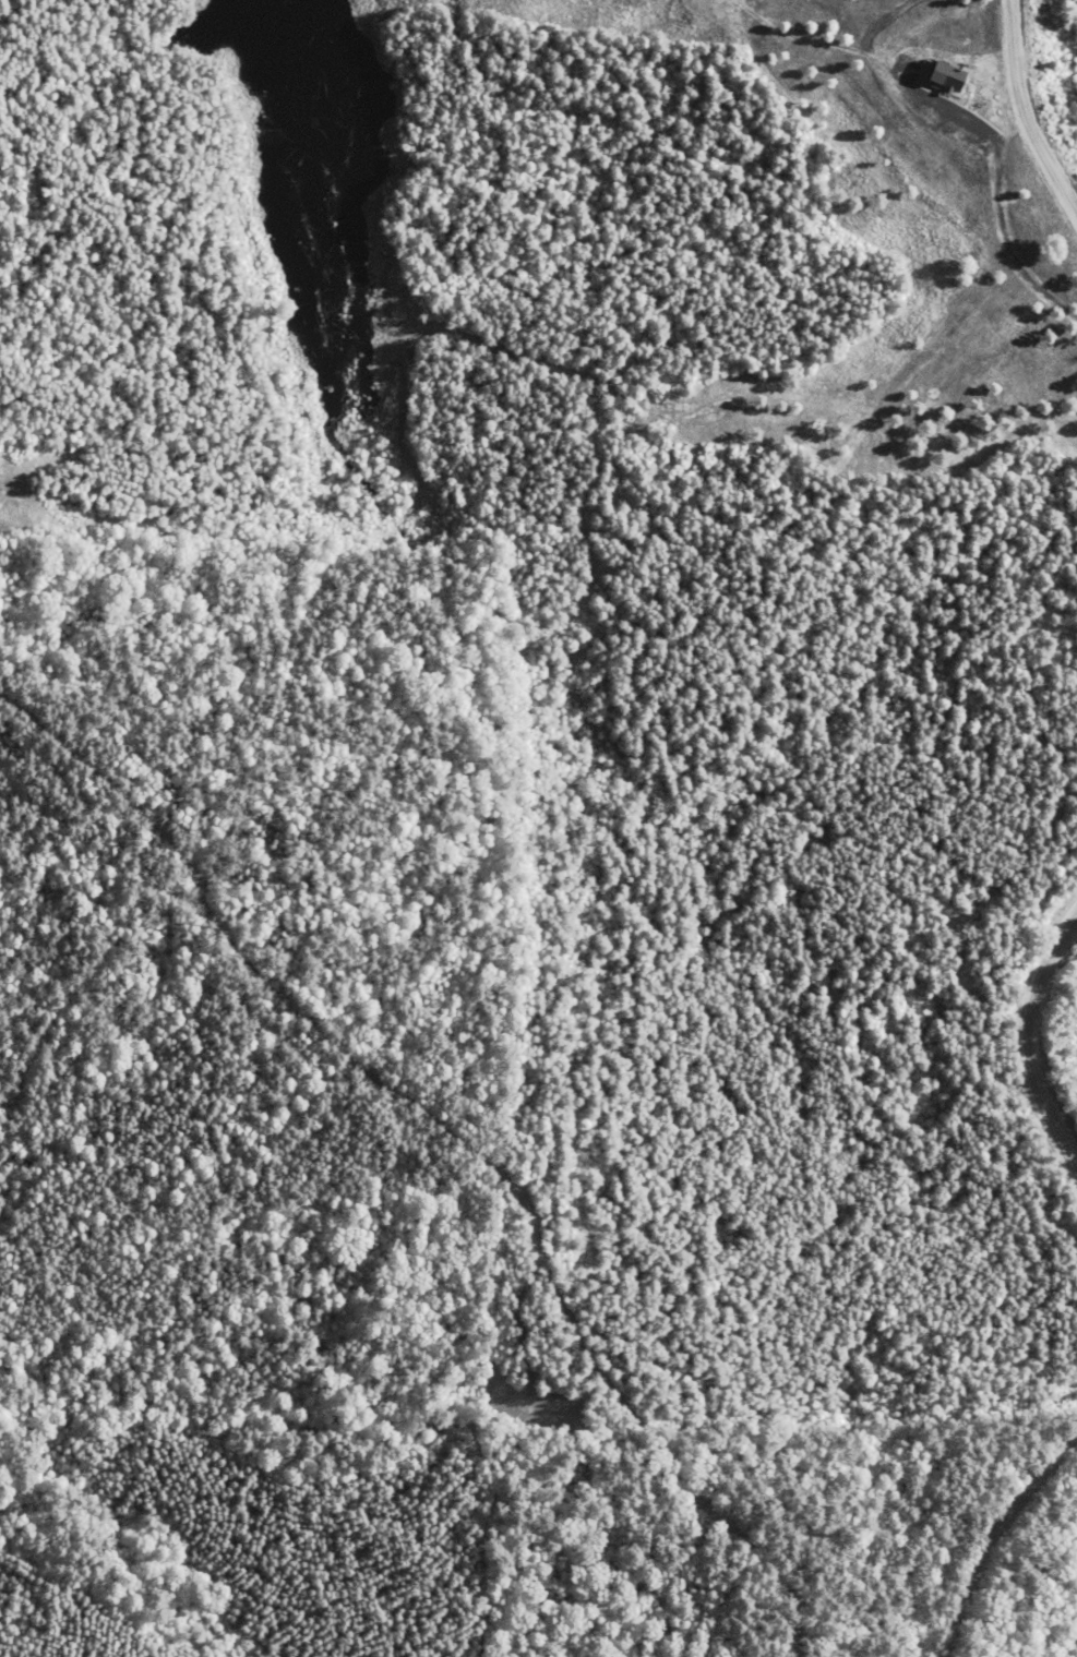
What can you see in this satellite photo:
road: (1034, 108)
road: (1067, 1009)
road: (1016, 1557)

